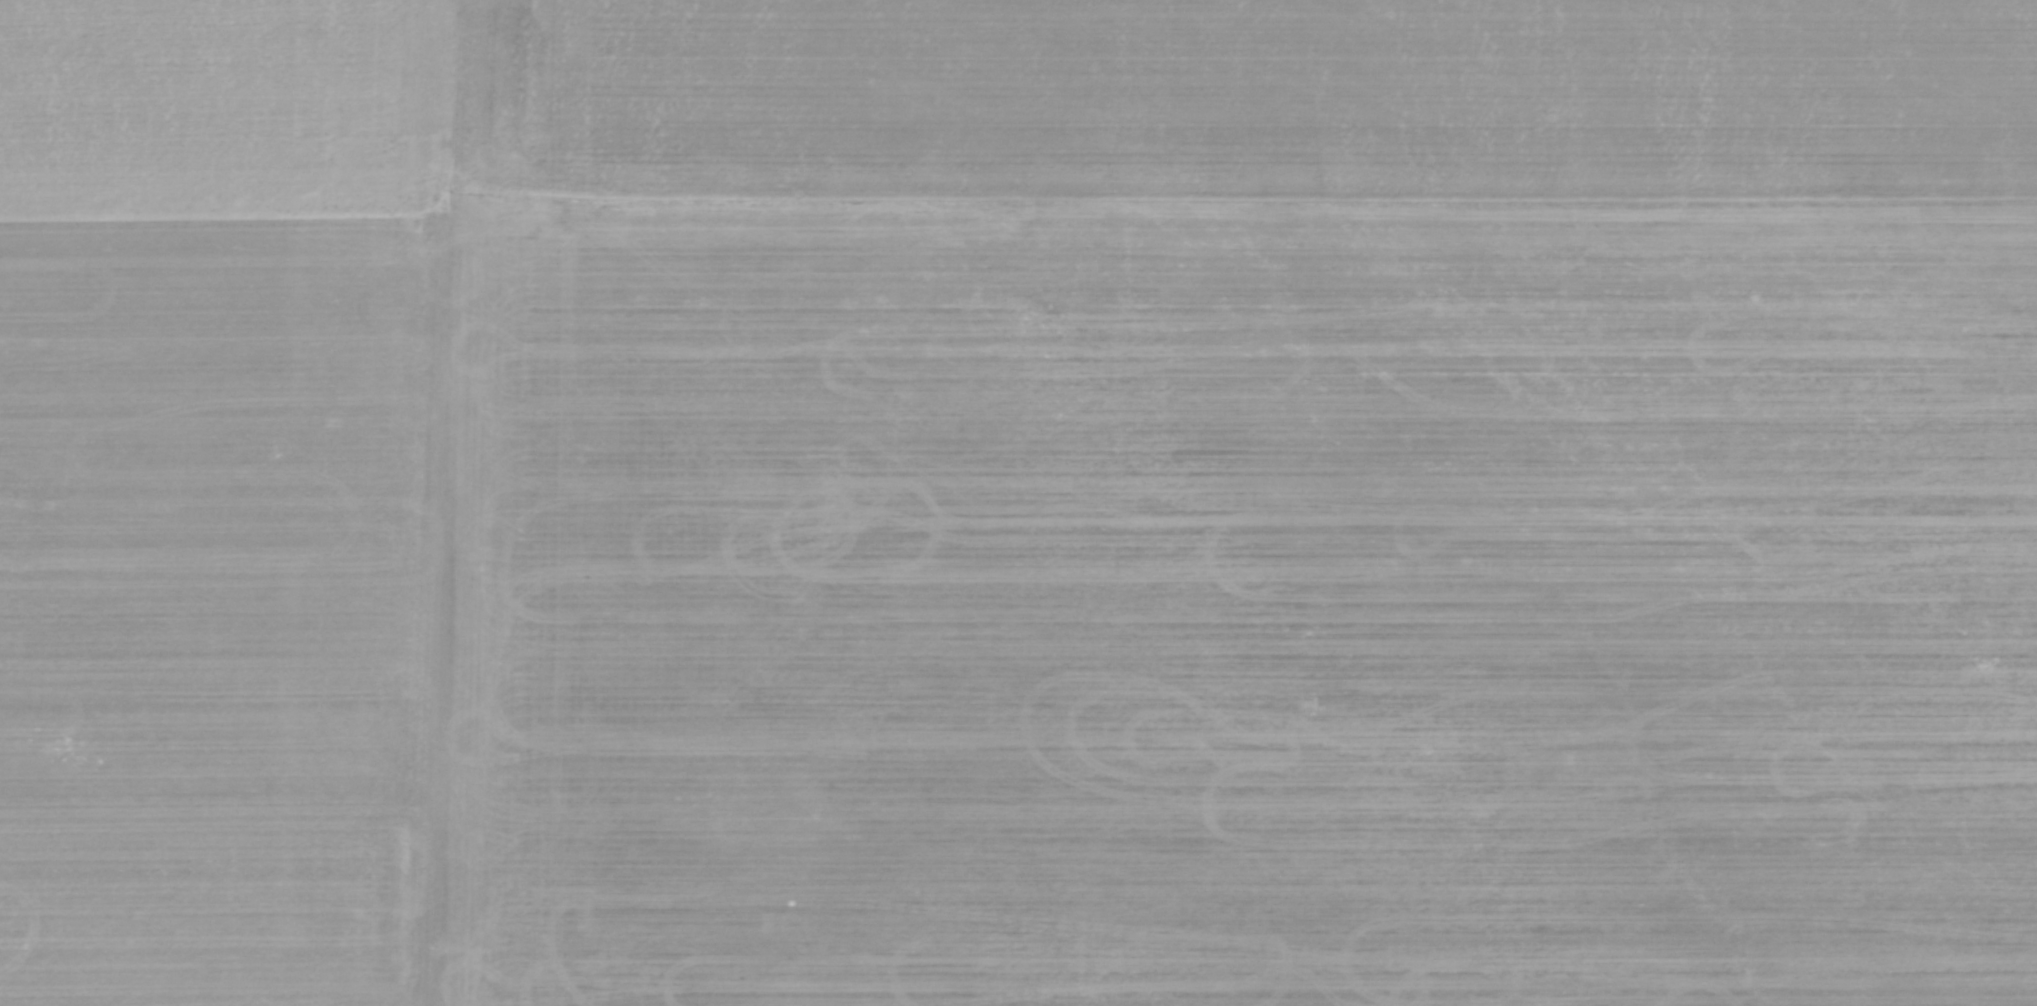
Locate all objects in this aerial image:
road: (449, 503)
crop: (1018, 503)

